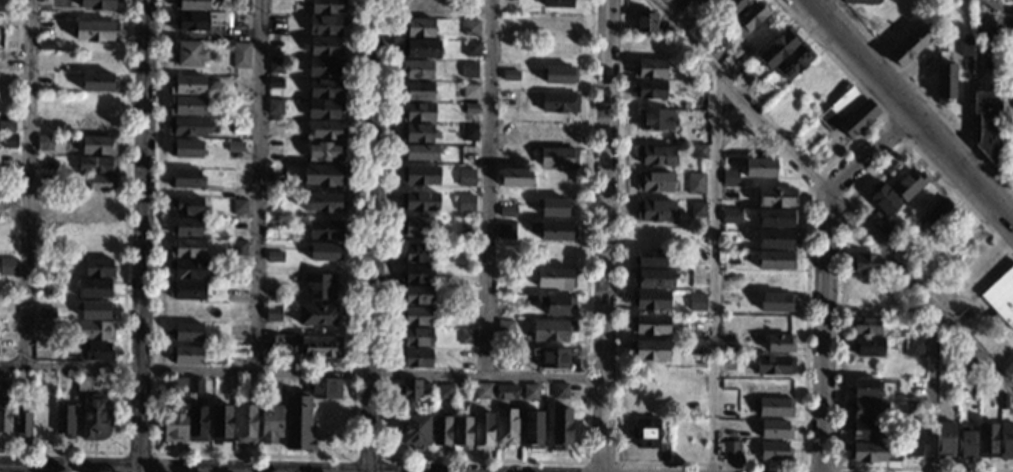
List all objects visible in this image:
building: (860, 1)
building: (674, 2)
building: (713, 2)
building: (556, 3)
road: (808, 3)
road: (834, 3)
building: (99, 4)
building: (191, 4)
building: (241, 4)
building: (328, 6)
building: (733, 6)
road: (997, 6)
building: (421, 7)
building: (750, 17)
building: (191, 22)
building: (645, 23)
building: (327, 25)
building: (419, 28)
building: (471, 28)
building: (95, 31)
building: (914, 41)
building: (45, 45)
building: (326, 47)
building: (965, 47)
building: (471, 48)
building: (650, 48)
building: (778, 48)
building: (420, 49)
building: (188, 54)
building: (240, 55)
building: (794, 62)
building: (276, 64)
building: (325, 66)
building: (417, 68)
building: (650, 69)
building: (469, 70)
building: (559, 74)
building: (99, 81)
building: (744, 81)
building: (275, 82)
building: (944, 82)
building: (1009, 82)
building: (187, 85)
building: (703, 86)
building: (326, 89)
building: (649, 90)
building: (419, 91)
building: (470, 91)
road: (922, 98)
building: (559, 103)
road: (966, 105)
building: (186, 106)
building: (275, 107)
building: (702, 107)
building: (471, 108)
building: (324, 109)
building: (418, 112)
building: (848, 113)
road: (905, 114)
building: (698, 115)
building: (655, 120)
building: (7, 125)
building: (987, 125)
road: (895, 126)
building: (188, 127)
building: (240, 127)
building: (327, 130)
building: (469, 132)
building: (418, 133)
building: (734, 133)
building: (10, 140)
building: (45, 143)
building: (98, 145)
building: (235, 145)
building: (186, 149)
building: (325, 151)
building: (699, 151)
building: (421, 153)
building: (657, 155)
building: (558, 157)
building: (45, 164)
building: (97, 165)
building: (760, 168)
building: (323, 174)
building: (420, 175)
building: (466, 176)
building: (730, 177)
building: (240, 178)
building: (516, 178)
building: (184, 179)
road: (27, 182)
building: (655, 182)
building: (696, 183)
building: (100, 184)
road: (259, 184)
building: (908, 185)
road: (488, 187)
road: (834, 195)
building: (775, 197)
building: (883, 199)
building: (419, 201)
building: (323, 202)
building: (466, 202)
building: (97, 204)
building: (505, 205)
building: (185, 206)
building: (238, 206)
building: (552, 207)
building: (697, 209)
building: (655, 210)
building: (938, 214)
building: (731, 216)
building: (776, 218)
building: (876, 221)
building: (273, 226)
building: (187, 227)
building: (419, 227)
building: (324, 230)
building: (505, 230)
building: (553, 231)
road: (143, 236)
road: (375, 236)
road: (605, 236)
building: (775, 239)
building: (902, 246)
building: (188, 248)
building: (238, 248)
building: (419, 252)
building: (320, 253)
building: (275, 255)
building: (649, 257)
building: (775, 260)
building: (863, 263)
building: (7, 265)
building: (99, 267)
building: (189, 269)
road: (715, 270)
building: (417, 274)
road: (824, 276)
building: (555, 278)
building: (653, 279)
road: (124, 286)
building: (320, 286)
building: (93, 288)
building: (187, 290)
building: (417, 295)
building: (468, 295)
building: (695, 295)
building: (1001, 296)
road: (838, 297)
building: (729, 298)
building: (503, 299)
building: (649, 299)
building: (776, 302)
building: (556, 304)
building: (94, 310)
building: (186, 311)
building: (46, 312)
building: (272, 313)
building: (319, 315)
building: (417, 316)
building: (43, 325)
building: (648, 325)
building: (7, 326)
building: (865, 326)
building: (505, 327)
building: (95, 330)
building: (551, 330)
building: (186, 332)
building: (467, 336)
building: (417, 337)
building: (501, 343)
building: (780, 343)
building: (868, 346)
building: (914, 347)
building: (304, 349)
building: (649, 350)
building: (96, 351)
building: (1003, 351)
building: (501, 353)
building: (186, 354)
building: (416, 358)
building: (551, 358)
building: (965, 363)
building: (775, 365)
road: (301, 369)
building: (4, 381)
building: (41, 383)
building: (83, 383)
building: (178, 386)
building: (195, 386)
building: (290, 386)
building: (775, 386)
building: (917, 387)
building: (325, 388)
building: (865, 389)
road: (933, 389)
building: (272, 390)
building: (409, 391)
building: (426, 391)
building: (483, 391)
building: (559, 391)
building: (445, 392)
building: (505, 392)
building: (530, 392)
building: (1003, 401)
building: (728, 405)
building: (775, 407)
building: (866, 409)
building: (5, 415)
building: (94, 417)
building: (44, 420)
building: (65, 420)
building: (22, 422)
building: (298, 422)
building: (197, 423)
building: (271, 423)
building: (221, 424)
building: (245, 424)
building: (733, 424)
building: (174, 426)
building: (506, 426)
building: (560, 428)
building: (532, 429)
building: (775, 430)
building: (868, 430)
building: (414, 431)
building: (441, 431)
building: (482, 431)
building: (462, 432)
building: (646, 432)
building: (945, 439)
building: (965, 441)
building: (987, 441)
building: (915, 442)
building: (1005, 442)
building: (731, 449)
building: (663, 451)
building: (775, 451)
road: (138, 452)
building: (866, 452)
road: (255, 455)
road: (367, 457)
road: (485, 459)
road: (599, 461)
road: (749, 465)
road: (820, 466)
road: (151, 469)

